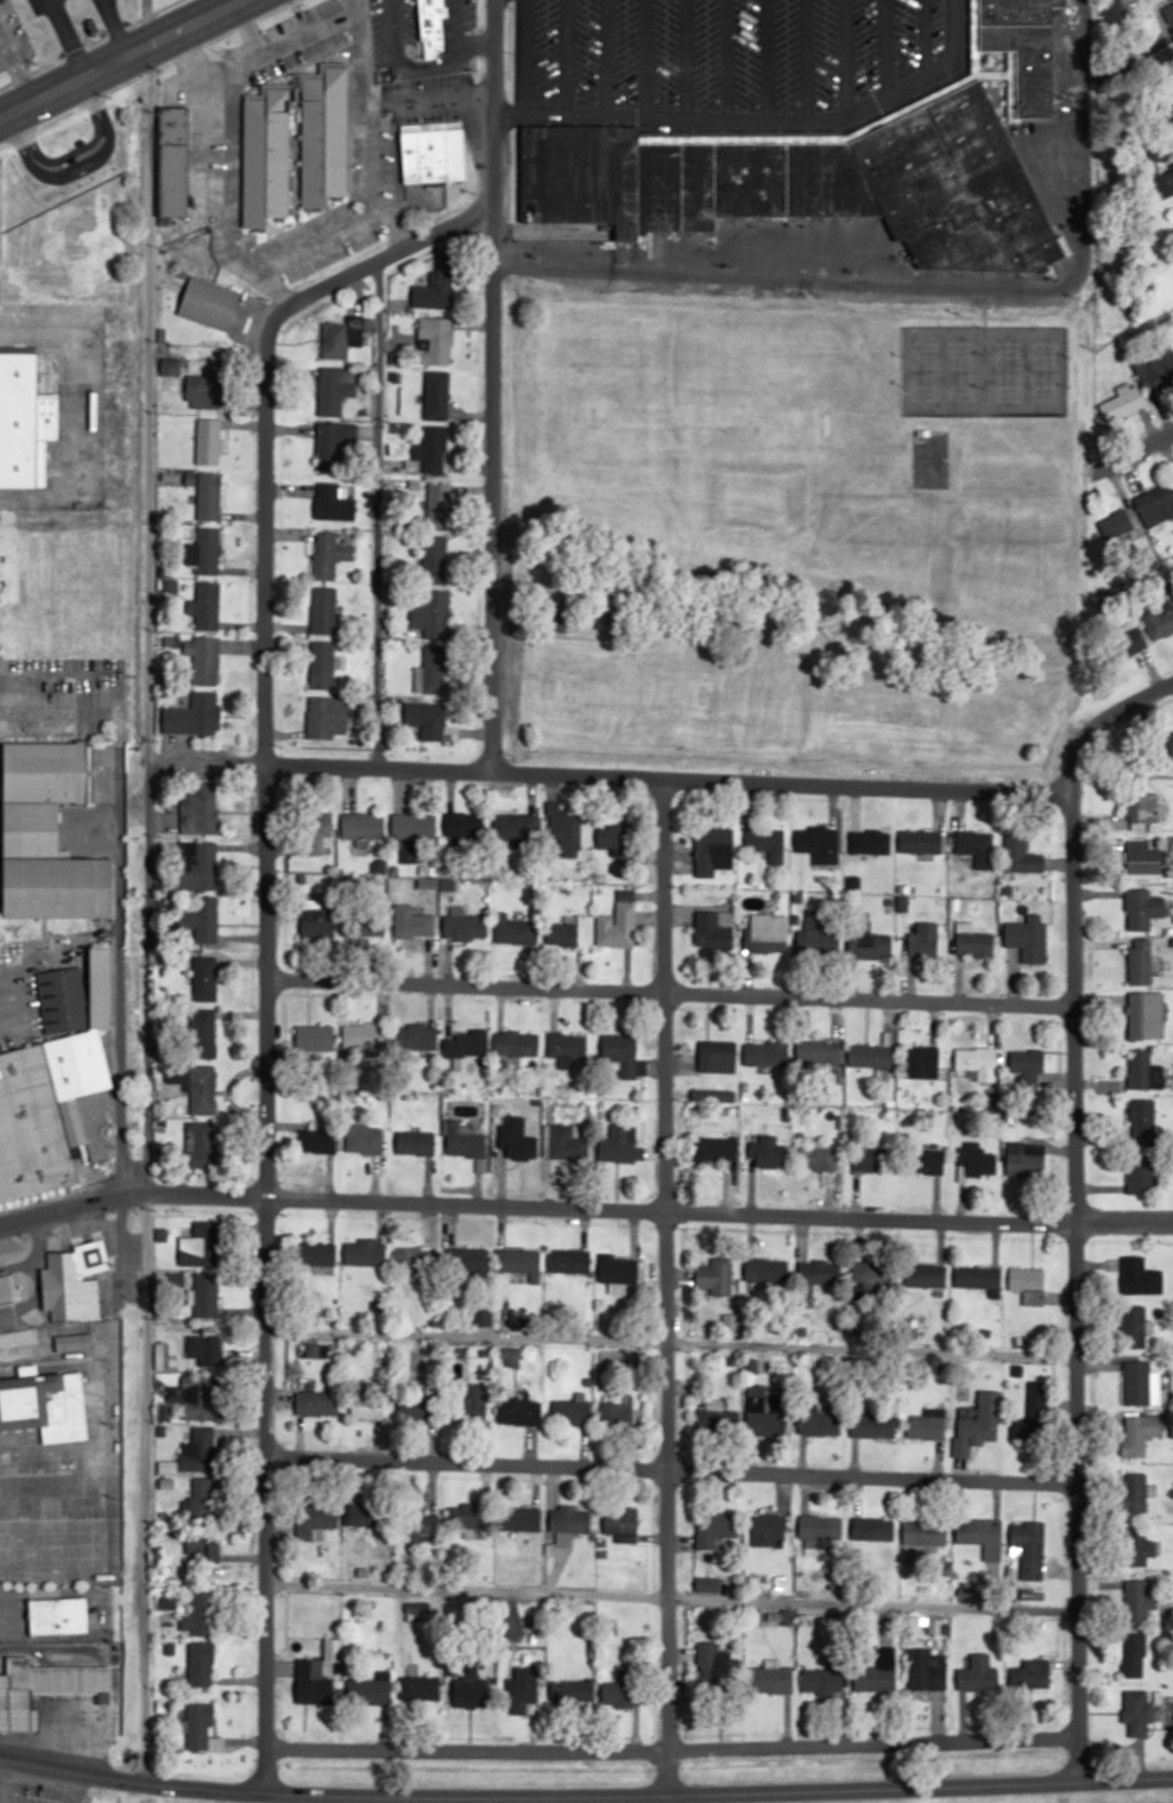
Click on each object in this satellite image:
road: (215, 2)
building: (1172, 2)
parking lot: (32, 6)
road: (49, 8)
road: (143, 21)
building: (430, 21)
road: (112, 26)
parking lot: (15, 30)
road: (62, 36)
road: (88, 44)
building: (1023, 46)
parking lot: (726, 51)
road: (113, 57)
road: (14, 67)
parking lot: (1, 69)
road: (756, 119)
building: (1171, 119)
building: (265, 147)
building: (433, 151)
building: (174, 159)
building: (1165, 178)
building: (811, 183)
road: (277, 259)
road: (919, 284)
building: (434, 286)
building: (212, 304)
building: (333, 338)
building: (435, 339)
building: (1155, 368)
park: (983, 371)
road: (484, 383)
building: (333, 389)
building: (203, 391)
building: (435, 395)
building: (1122, 404)
park: (764, 417)
building: (24, 421)
road: (1154, 435)
building: (207, 441)
building: (334, 447)
building: (431, 449)
road: (1105, 459)
building: (207, 496)
building: (332, 503)
building: (1155, 505)
building: (437, 506)
building: (1115, 524)
park: (788, 529)
building: (204, 551)
building: (327, 555)
building: (433, 559)
building: (204, 606)
building: (322, 610)
building: (435, 614)
road: (838, 620)
building: (1159, 622)
building: (1129, 637)
building: (202, 660)
building: (320, 666)
road: (931, 668)
building: (430, 672)
park: (624, 693)
road: (1101, 713)
building: (193, 715)
building: (326, 718)
building: (425, 719)
building: (1167, 743)
road: (663, 770)
building: (43, 771)
building: (1141, 803)
building: (198, 811)
building: (361, 826)
building: (463, 828)
building: (30, 830)
building: (515, 830)
building: (563, 830)
building: (314, 832)
building: (411, 833)
building: (613, 836)
building: (815, 839)
building: (866, 841)
building: (920, 841)
building: (767, 843)
building: (973, 846)
building: (712, 851)
building: (1020, 855)
building: (1142, 857)
building: (196, 866)
building: (57, 887)
building: (1142, 909)
road: (135, 910)
building: (202, 919)
building: (310, 920)
building: (616, 922)
building: (410, 923)
building: (361, 927)
building: (463, 928)
building: (713, 929)
road: (263, 931)
building: (513, 931)
building: (765, 933)
building: (560, 934)
building: (818, 937)
building: (923, 939)
building: (1027, 940)
building: (868, 941)
building: (973, 945)
building: (1139, 962)
building: (203, 978)
building: (100, 985)
road: (666, 991)
building: (61, 1000)
building: (1144, 1015)
building: (202, 1033)
building: (362, 1036)
building: (313, 1038)
building: (415, 1038)
building: (465, 1042)
building: (515, 1044)
building: (566, 1045)
building: (618, 1047)
building: (818, 1052)
building: (767, 1053)
building: (717, 1055)
building: (869, 1055)
building: (921, 1061)
building: (1026, 1061)
building: (976, 1063)
building: (1142, 1070)
building: (196, 1085)
building: (81, 1088)
building: (1142, 1120)
building: (31, 1126)
building: (313, 1140)
building: (365, 1140)
building: (462, 1140)
building: (515, 1140)
building: (415, 1142)
building: (565, 1142)
building: (198, 1143)
building: (617, 1146)
building: (715, 1148)
building: (765, 1153)
building: (816, 1156)
building: (871, 1159)
building: (1024, 1159)
building: (923, 1161)
building: (977, 1162)
building: (1139, 1175)
road: (585, 1206)
building: (201, 1241)
building: (364, 1252)
building: (316, 1254)
building: (409, 1259)
building: (568, 1260)
building: (468, 1262)
building: (518, 1262)
building: (616, 1269)
building: (767, 1272)
building: (821, 1272)
building: (871, 1272)
building: (714, 1274)
building: (923, 1275)
building: (1140, 1276)
building: (977, 1278)
building: (72, 1279)
road: (662, 1282)
road: (1067, 1282)
building: (1027, 1284)
building: (11, 1287)
building: (206, 1294)
building: (480, 1316)
building: (1134, 1325)
building: (74, 1342)
road: (664, 1342)
building: (204, 1349)
building: (1137, 1382)
building: (201, 1397)
building: (317, 1401)
building: (45, 1404)
building: (469, 1405)
building: (367, 1406)
building: (416, 1406)
building: (765, 1411)
building: (570, 1412)
building: (518, 1413)
building: (617, 1413)
building: (710, 1417)
building: (820, 1423)
building: (871, 1425)
building: (926, 1425)
building: (978, 1426)
building: (1027, 1429)
building: (1140, 1433)
building: (200, 1450)
road: (662, 1467)
building: (1136, 1493)
building: (202, 1500)
parking lot: (51, 1511)
building: (338, 1517)
building: (466, 1517)
building: (518, 1518)
building: (570, 1519)
building: (619, 1520)
building: (423, 1524)
building: (824, 1528)
building: (715, 1530)
building: (768, 1531)
building: (881, 1531)
building: (925, 1534)
building: (982, 1537)
building: (1028, 1542)
building: (202, 1546)
building: (1139, 1549)
building: (726, 1584)
road: (664, 1593)
building: (1137, 1601)
building: (202, 1614)
building: (58, 1615)
building: (1134, 1656)
building: (201, 1664)
building: (712, 1665)
building: (926, 1673)
building: (1030, 1675)
building: (976, 1676)
building: (56, 1677)
building: (317, 1677)
building: (874, 1679)
building: (770, 1681)
building: (822, 1681)
building: (420, 1689)
building: (623, 1690)
building: (367, 1691)
building: (469, 1691)
building: (524, 1691)
building: (574, 1691)
building: (19, 1708)
building: (1136, 1711)
building: (198, 1726)
parking lot: (36, 1790)
road: (585, 1795)

